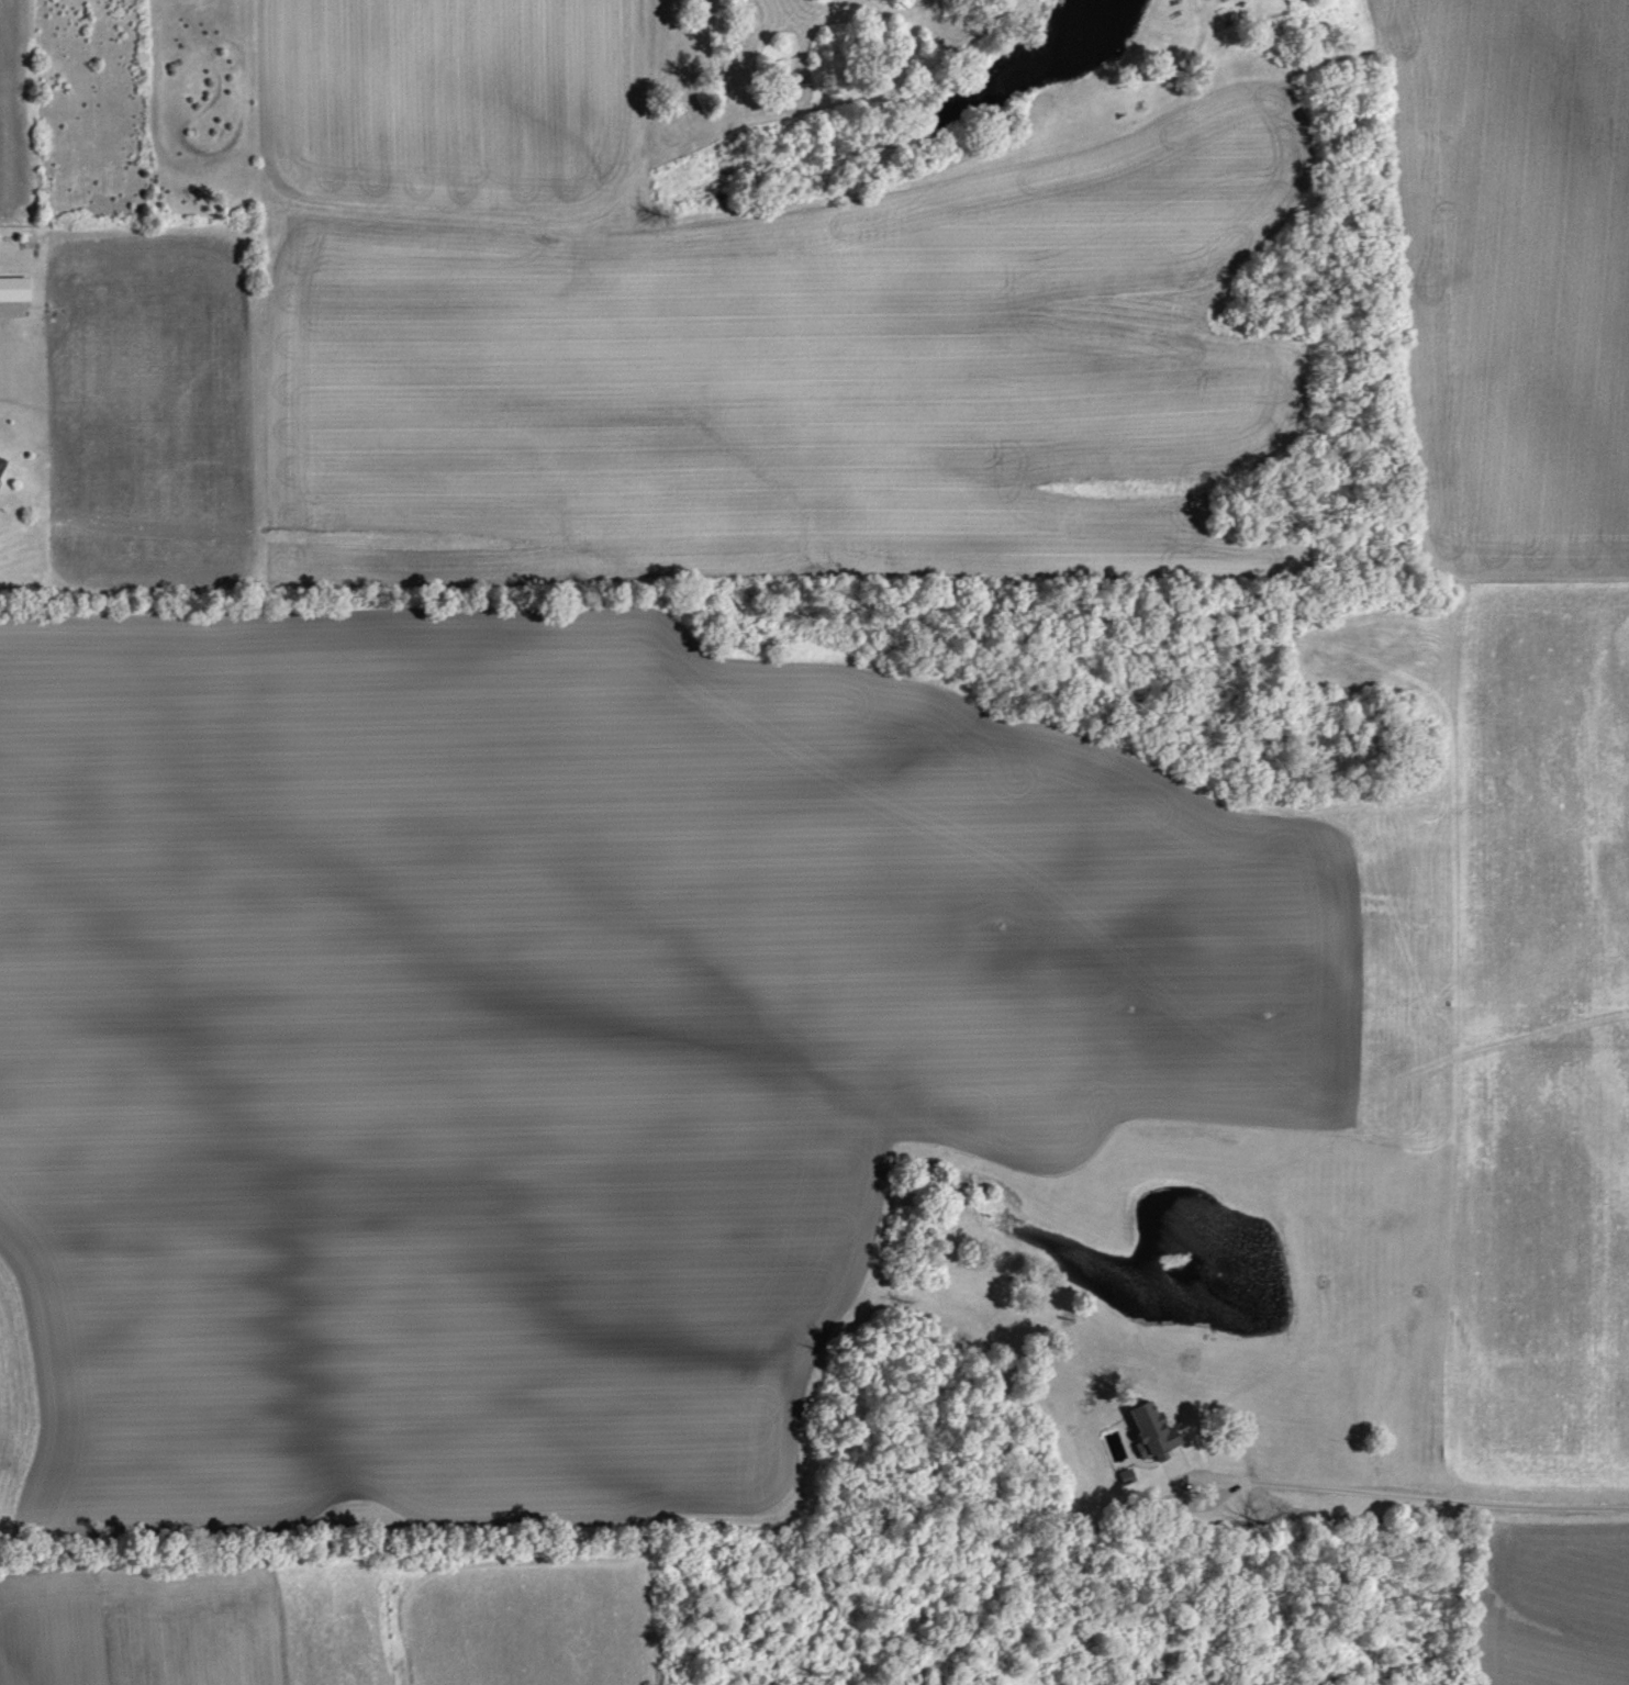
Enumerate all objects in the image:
building: (15, 288)
building: (1157, 1429)
road: (1399, 1491)

